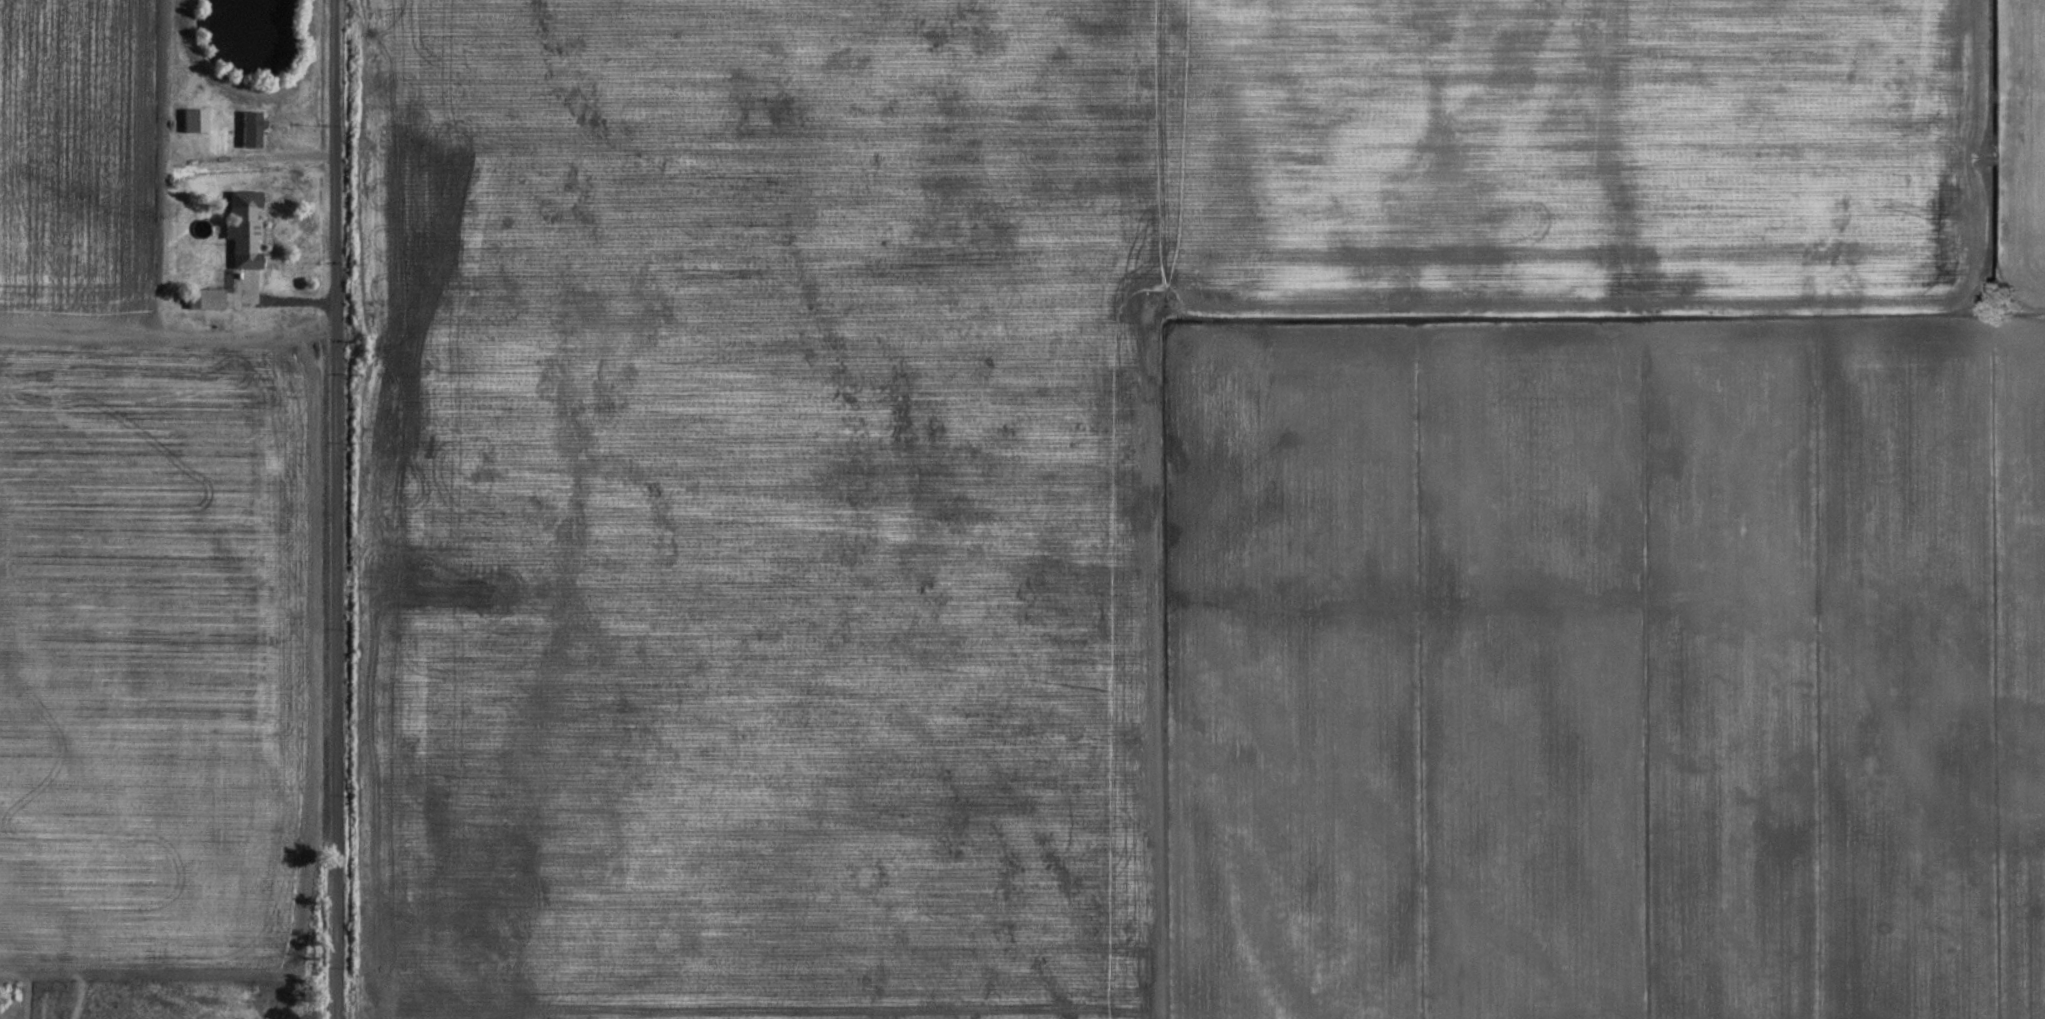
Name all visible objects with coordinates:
building: (192, 119)
building: (249, 129)
building: (240, 227)
building: (203, 297)
road: (268, 300)
road: (44, 319)
road: (334, 509)

